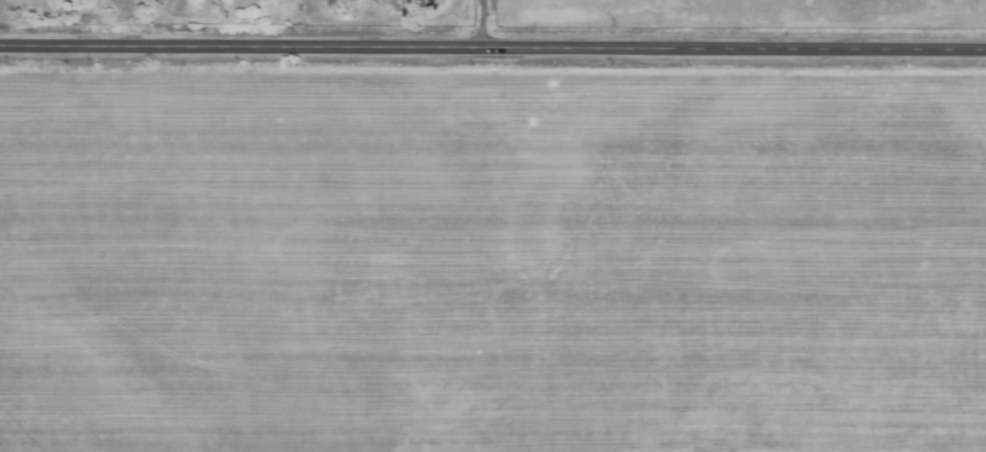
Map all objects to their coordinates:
road: (479, 1)
building: (241, 3)
road: (481, 24)
road: (492, 49)

